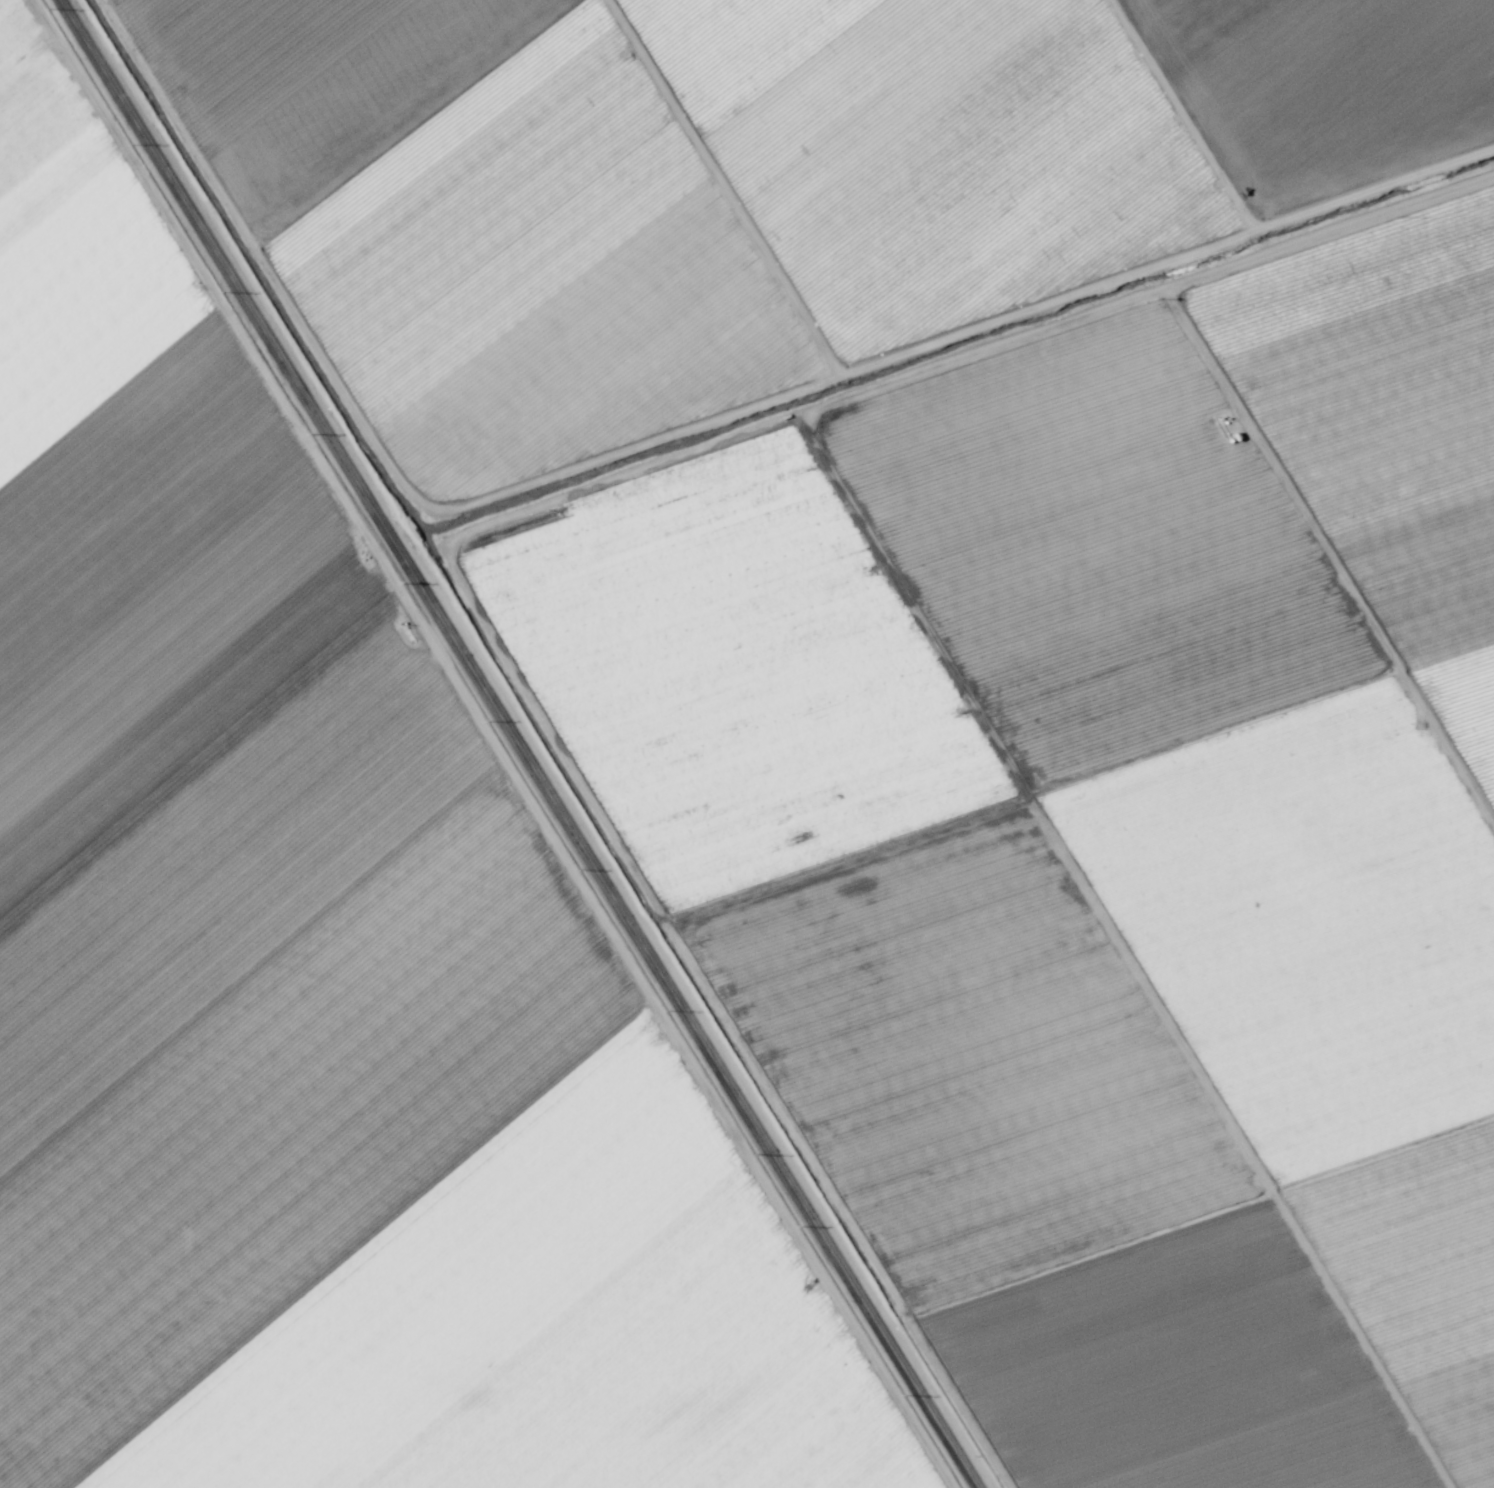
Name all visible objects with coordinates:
road: (516, 744)
crop: (747, 744)

